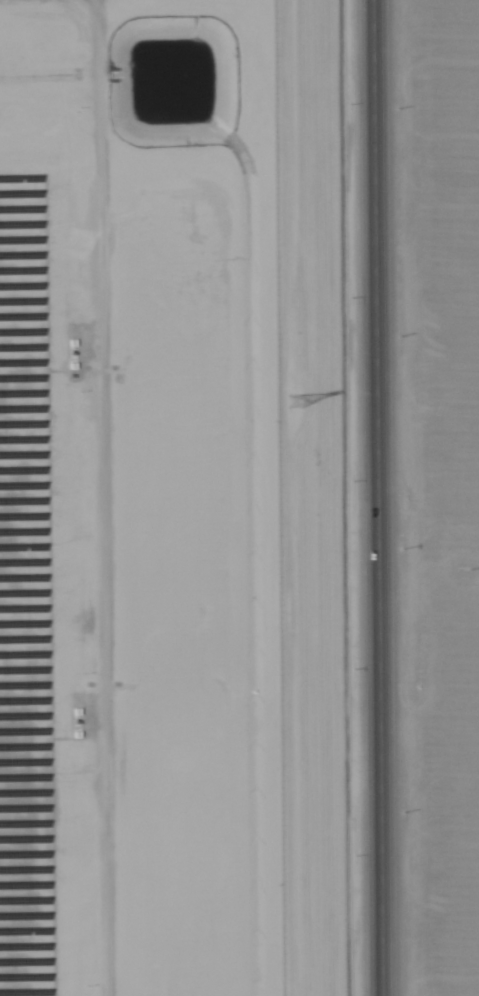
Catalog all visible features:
power tower: (291, 400)
crop: (433, 485)
road: (364, 498)
solar farm: (135, 499)

